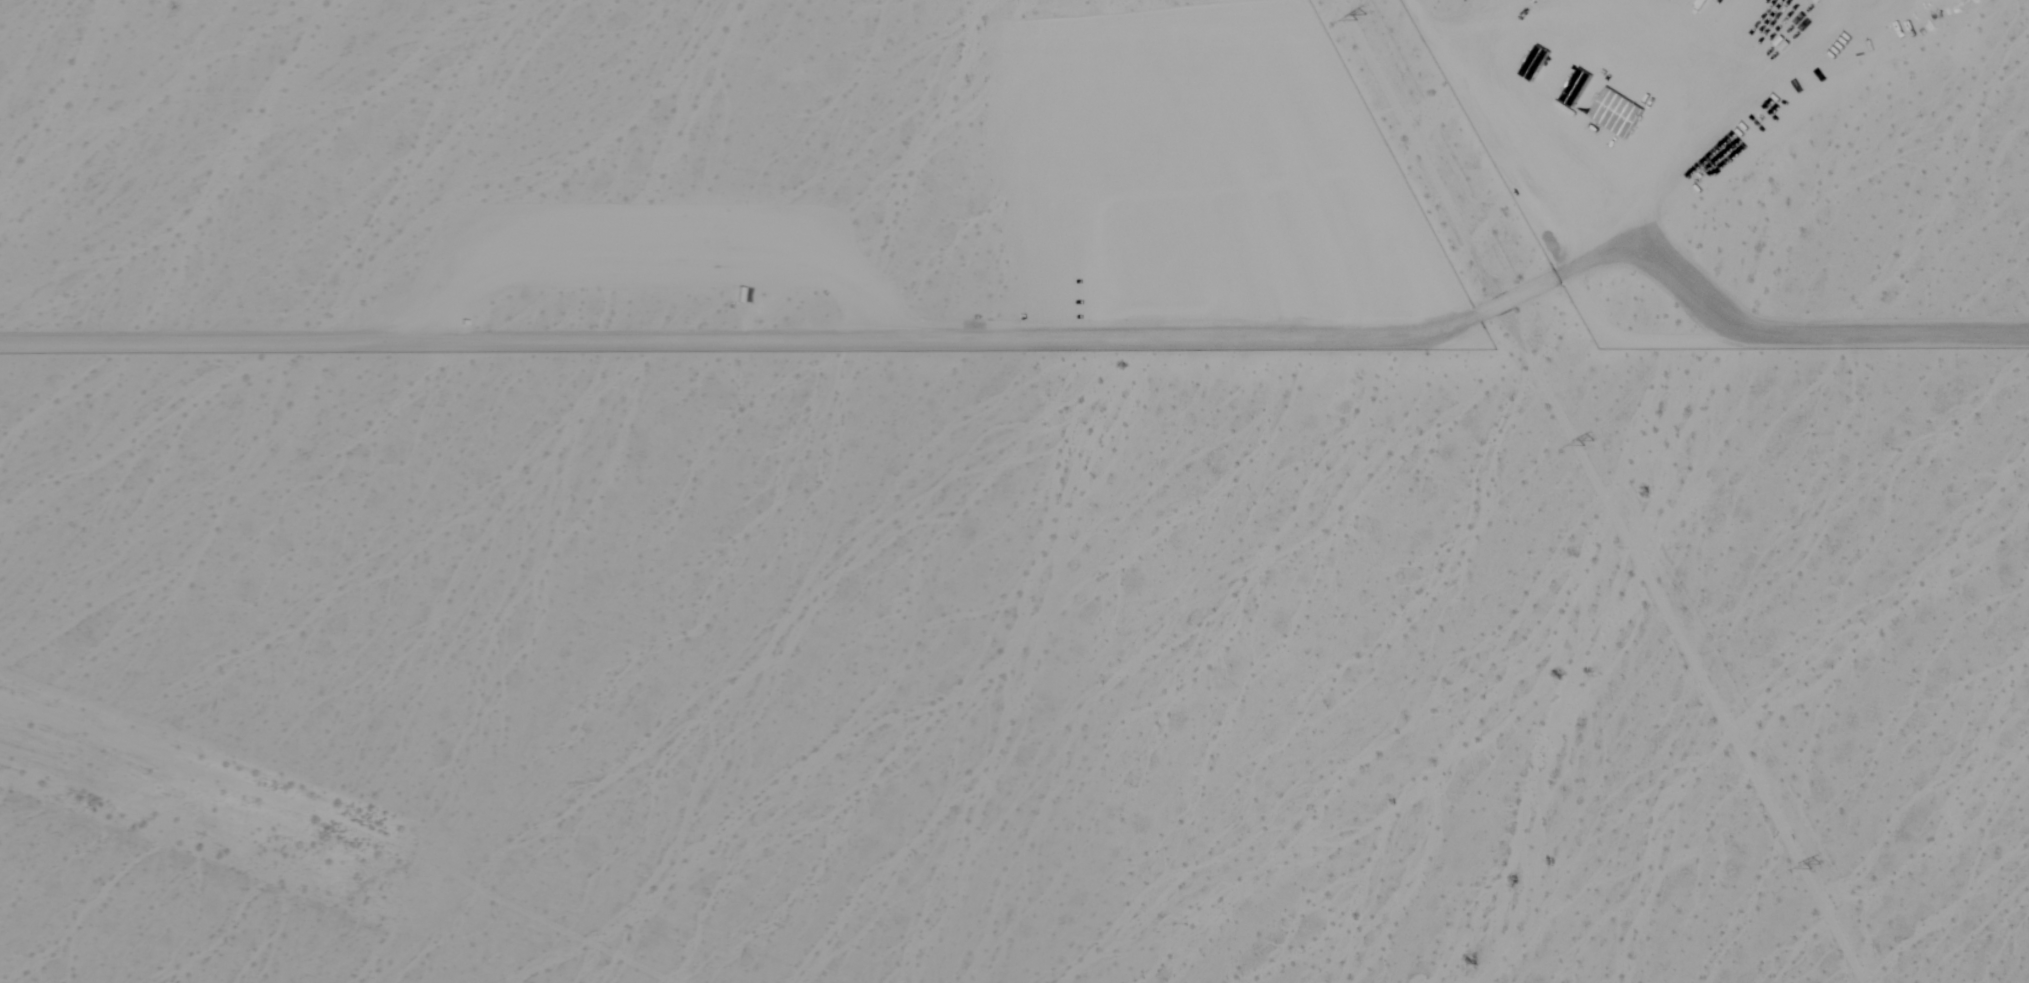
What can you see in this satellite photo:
power tower: (1365, 17)
solar farm: (989, 174)
road: (1748, 325)
power tower: (1592, 444)
road: (1598, 491)
power tower: (1817, 865)

